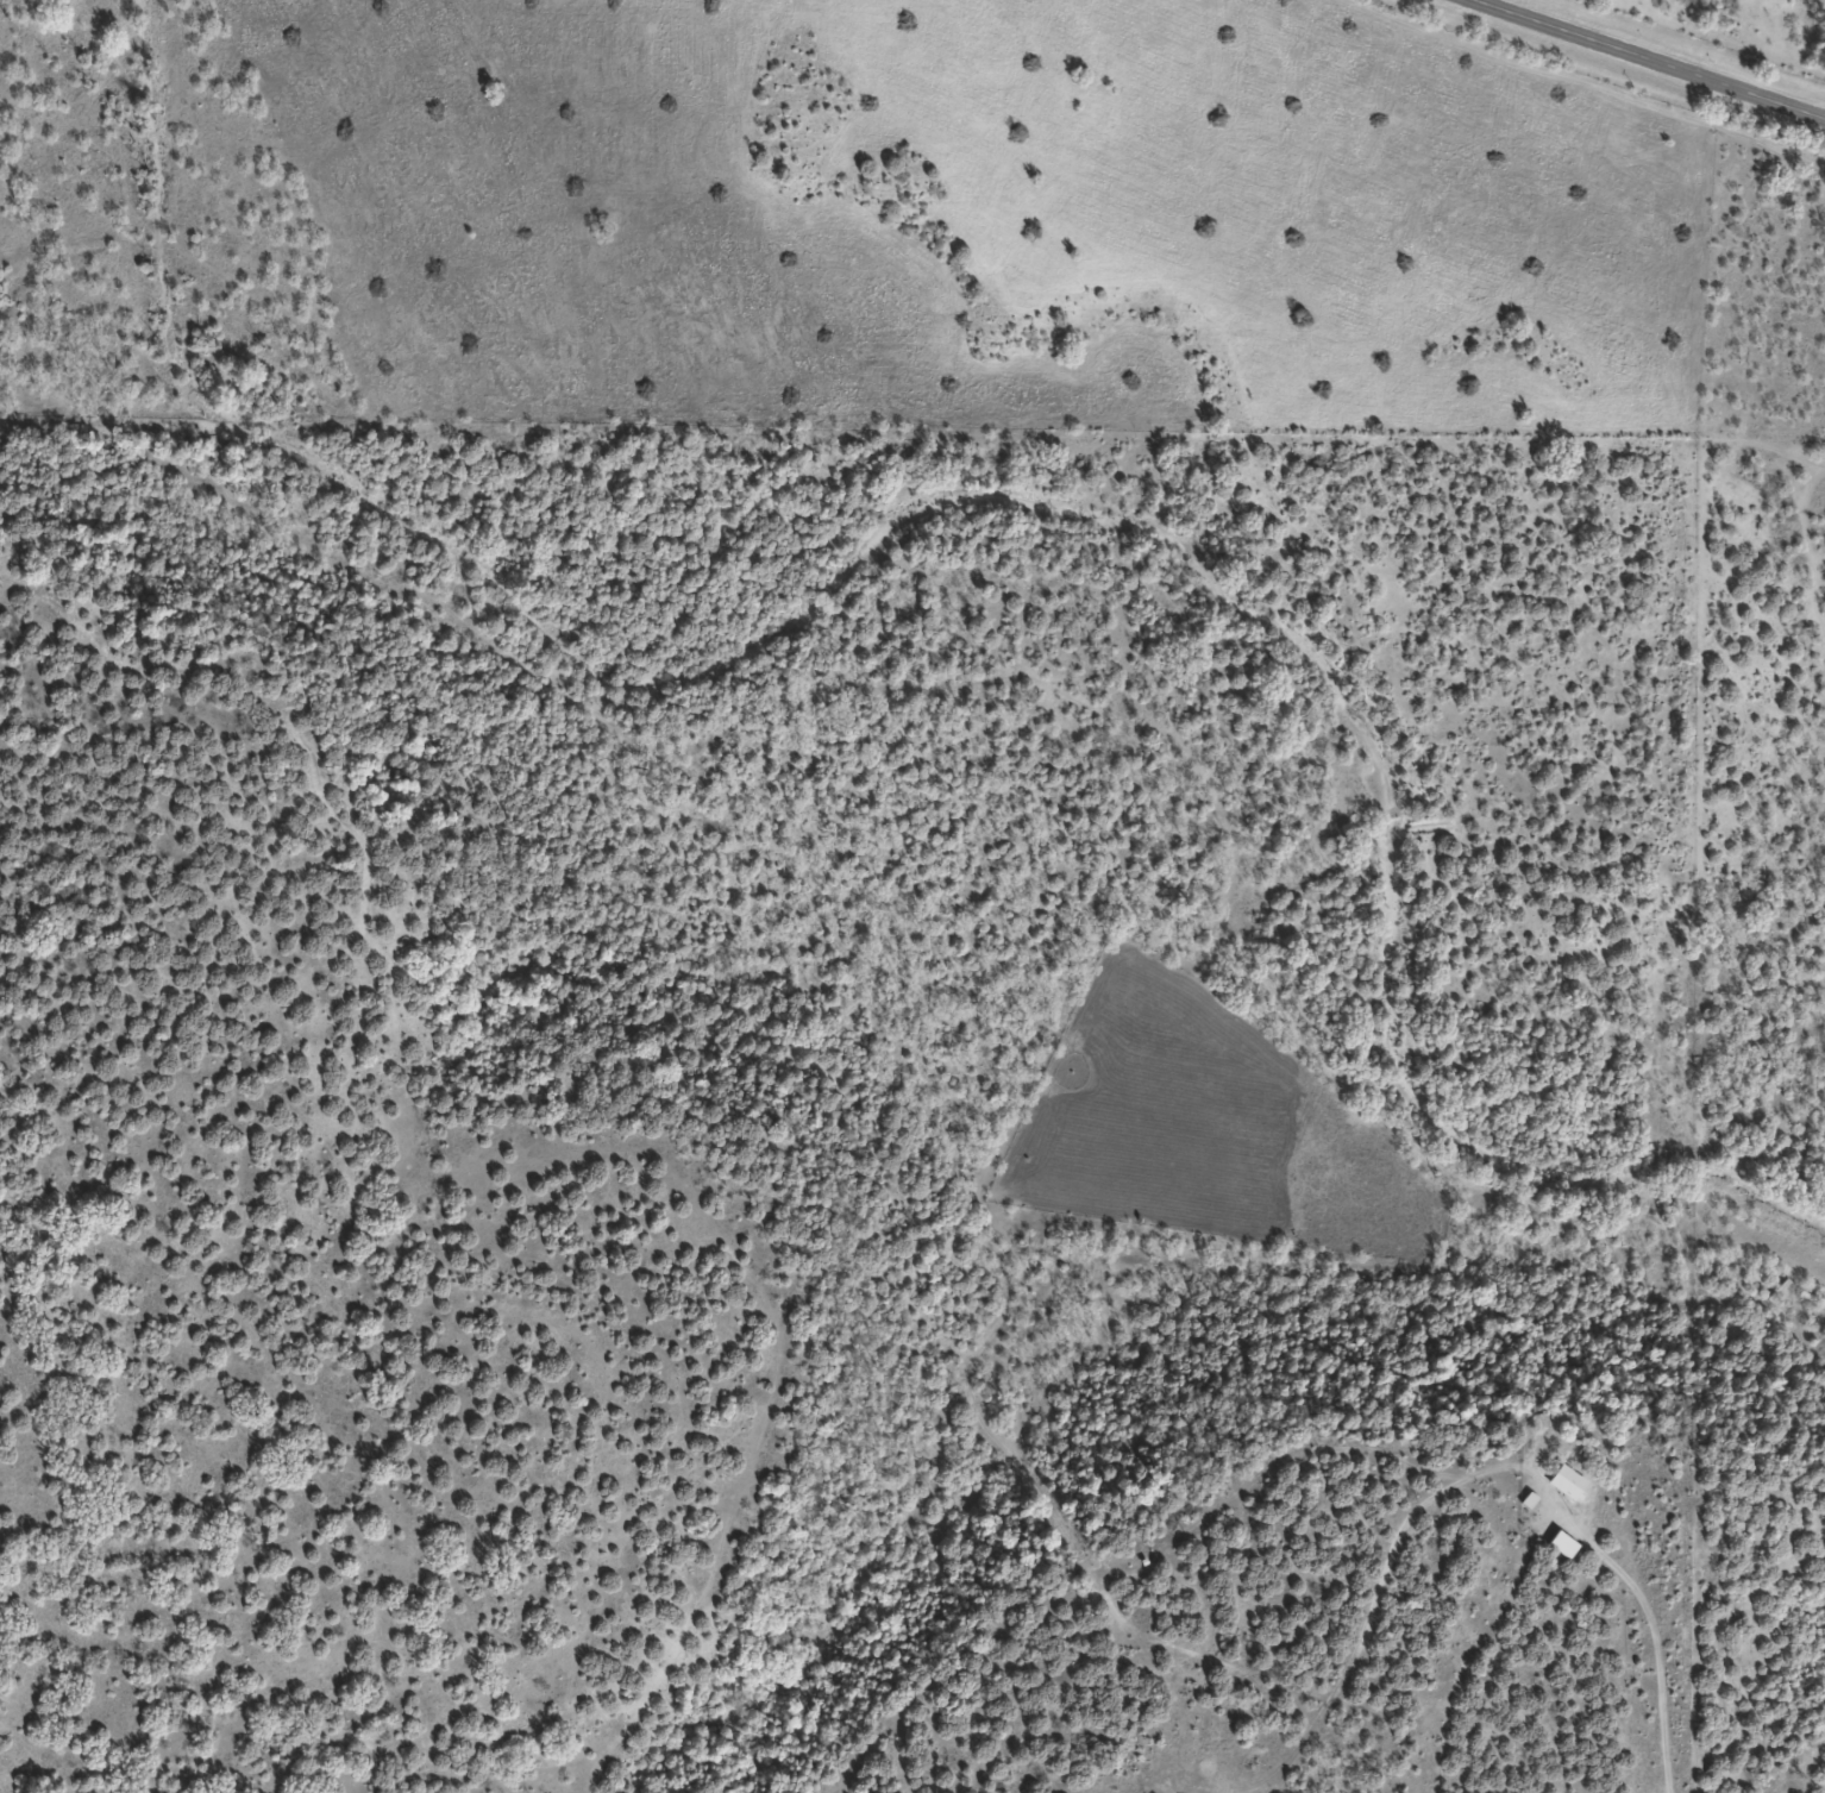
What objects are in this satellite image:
road: (1654, 56)
road: (1719, 1243)
building: (1569, 1484)
building: (1564, 1546)

